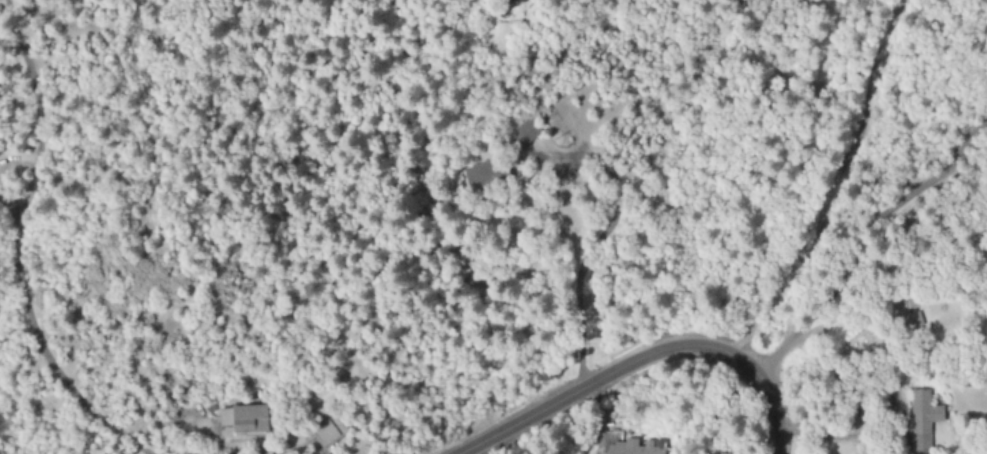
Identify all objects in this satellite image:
building: (511, 0)
building: (524, 133)
building: (481, 178)
road: (643, 356)
building: (244, 419)
building: (923, 420)
building: (631, 447)

